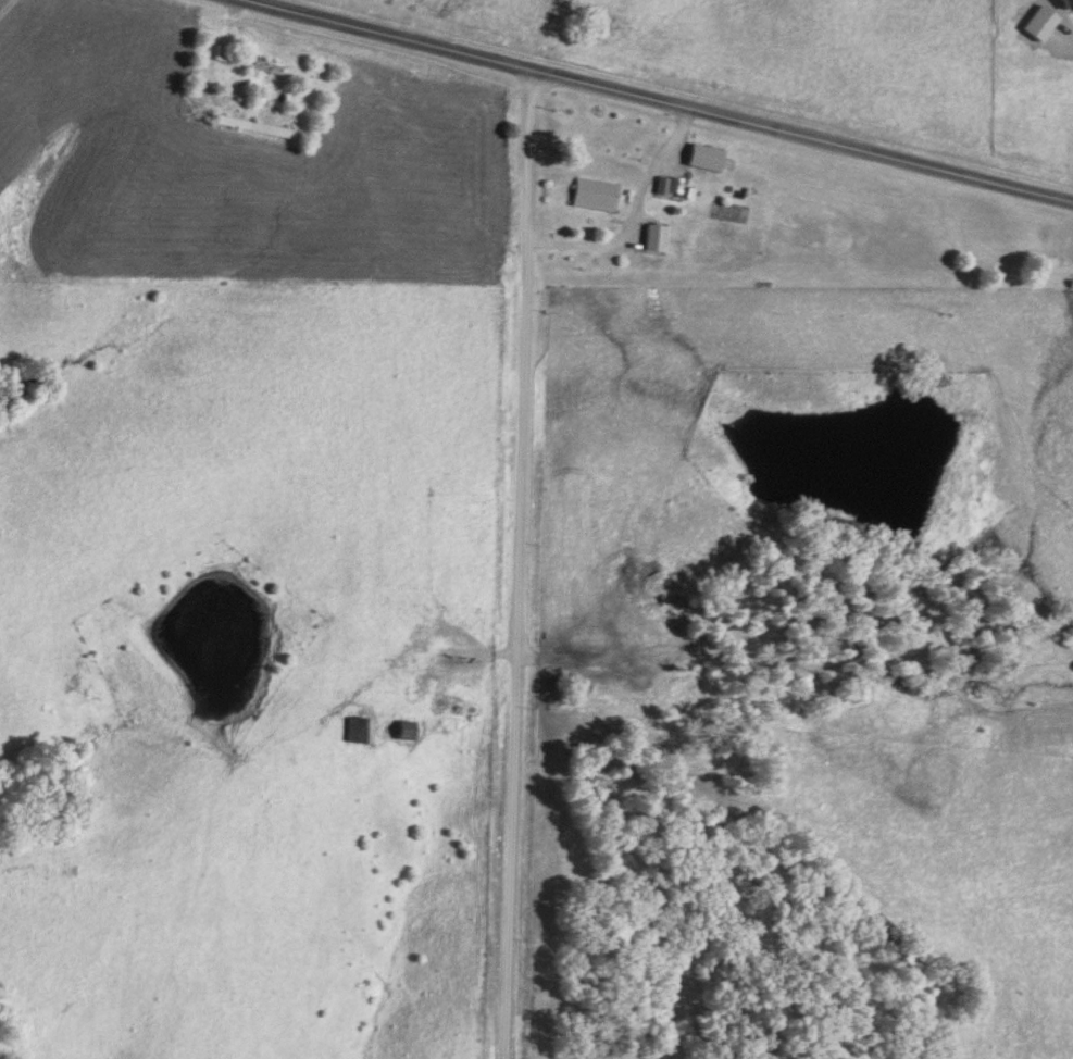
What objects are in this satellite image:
building: (217, 53)
building: (257, 65)
road: (653, 102)
building: (589, 192)
building: (647, 237)
road: (521, 565)
building: (351, 730)
building: (398, 730)

